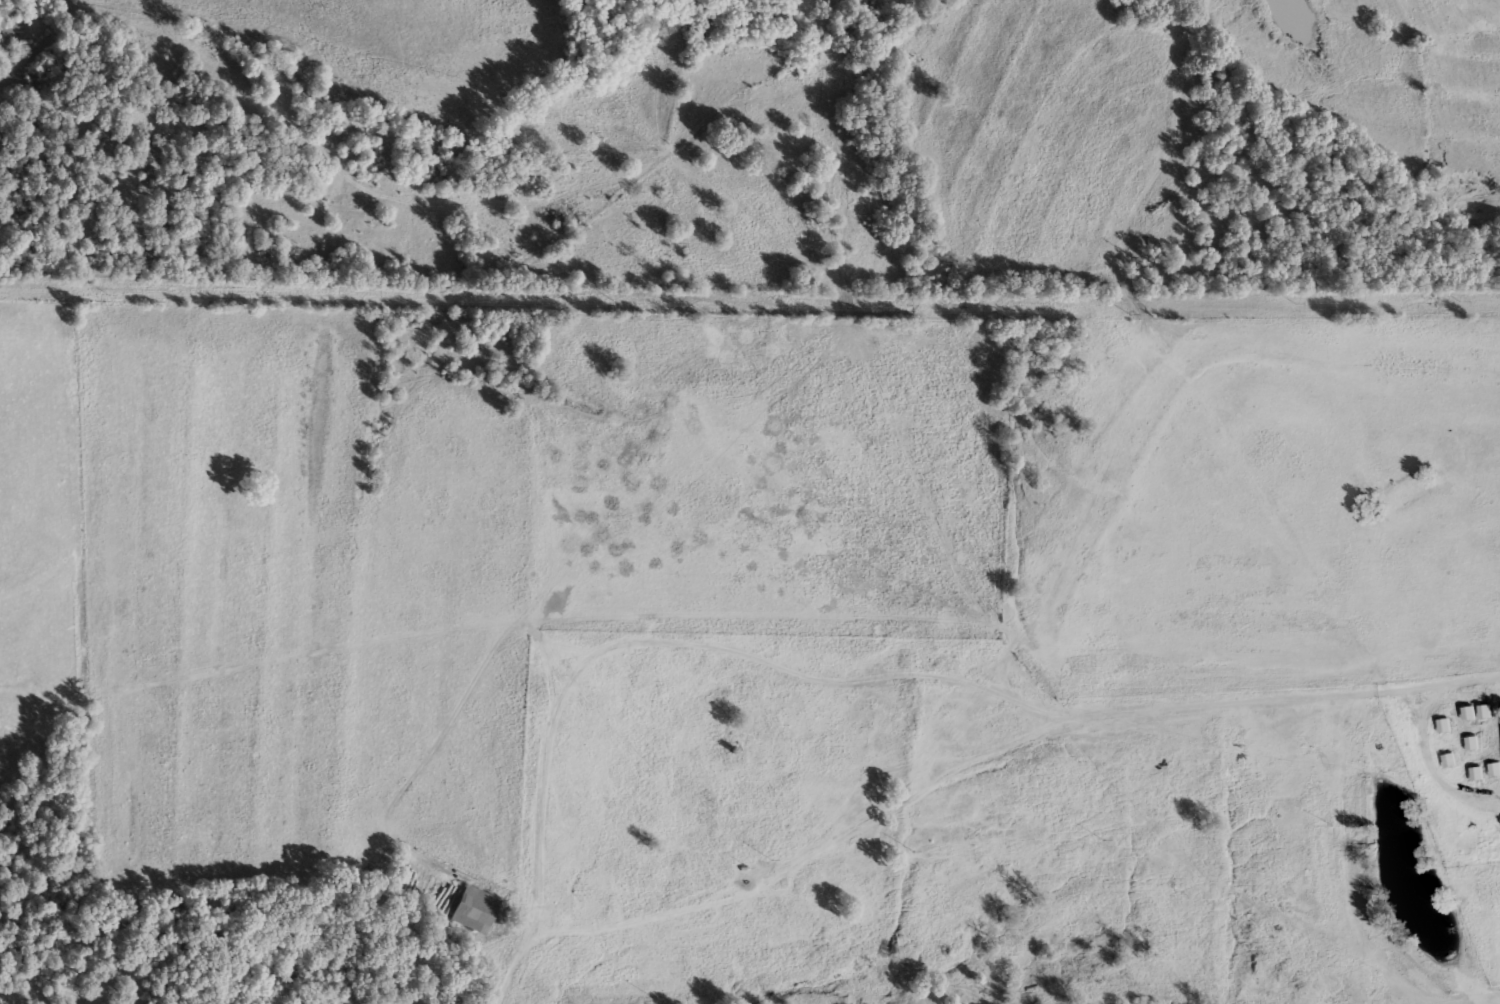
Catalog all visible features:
building: (1484, 710)
building: (1468, 712)
building: (1443, 724)
road: (965, 728)
building: (1472, 743)
building: (1449, 759)
building: (1494, 768)
building: (1475, 773)
building: (473, 908)

